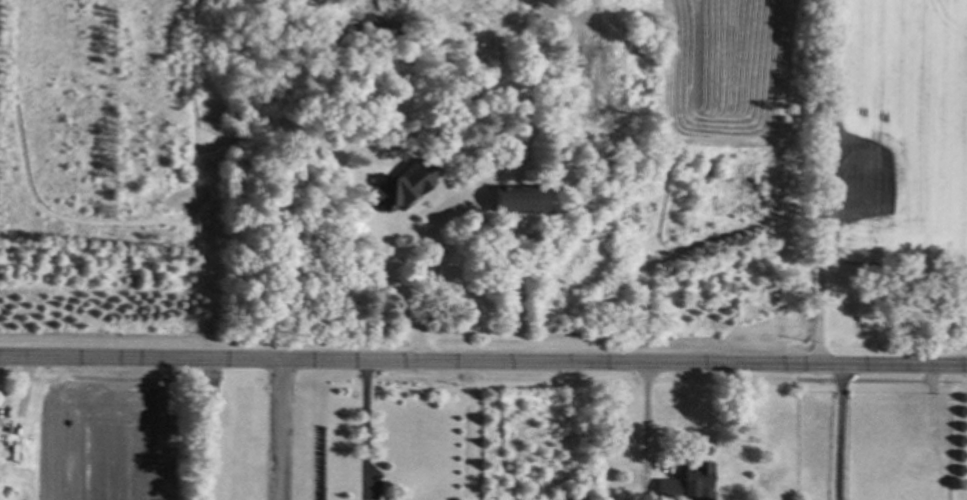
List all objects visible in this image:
crop: (847, 128)
road: (823, 185)
building: (394, 187)
building: (514, 198)
road: (423, 276)
road: (483, 360)
road: (645, 419)
road: (279, 430)
road: (364, 430)
road: (844, 435)
crop: (108, 442)
building: (693, 480)
building: (664, 487)

